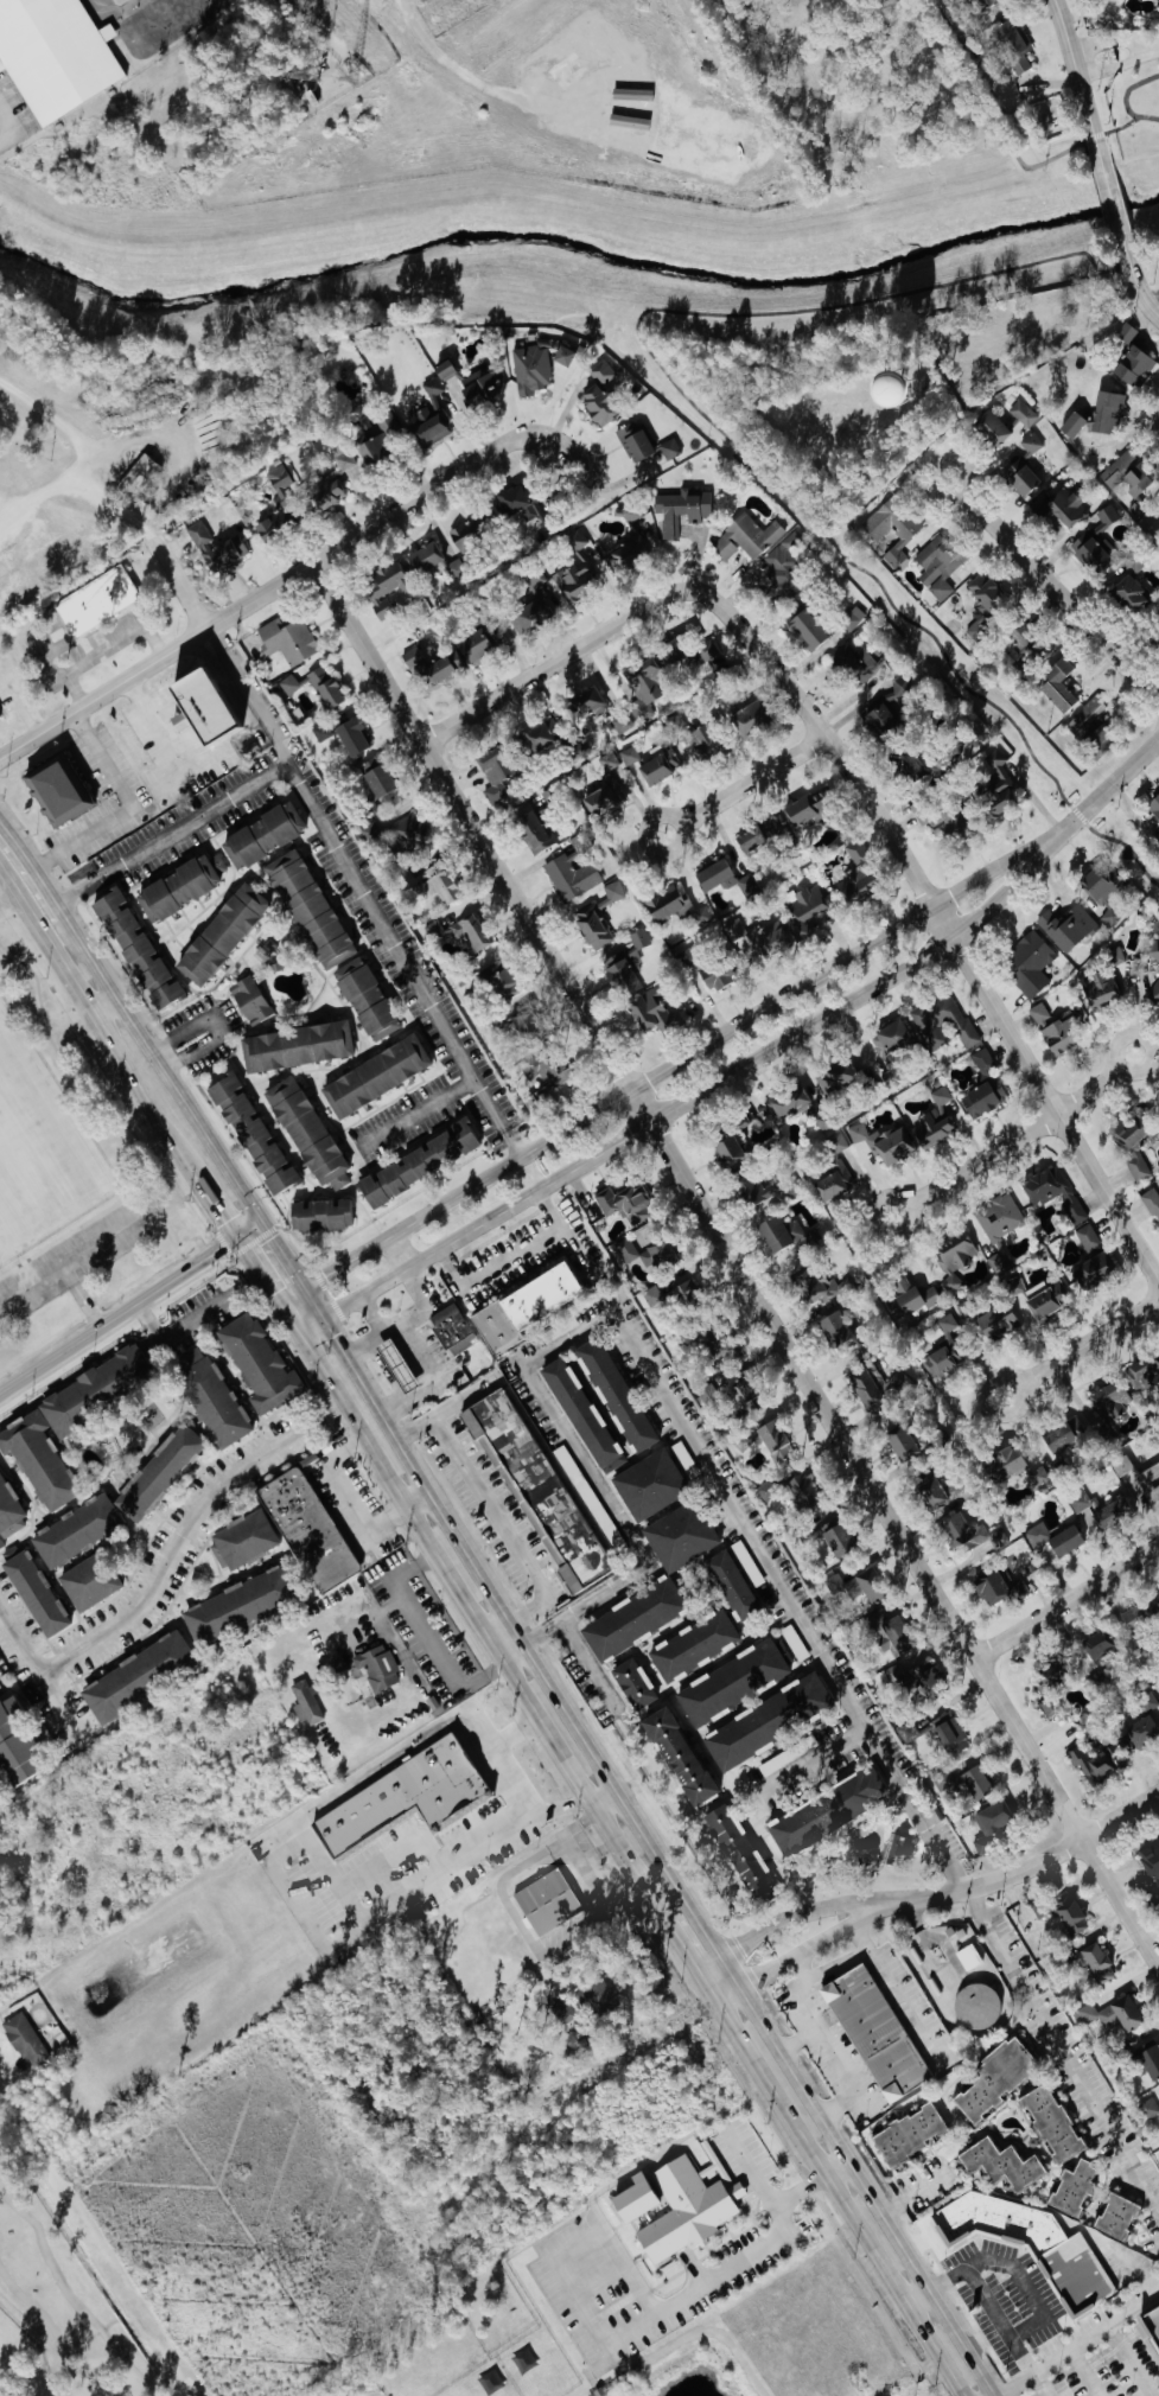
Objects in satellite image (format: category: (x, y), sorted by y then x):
building: (985, 1)
road: (1113, 40)
building: (1013, 44)
building: (55, 53)
road: (1117, 62)
road: (1076, 77)
road: (475, 82)
road: (993, 115)
road: (9, 125)
road: (1128, 146)
road: (1113, 202)
road: (1136, 285)
road: (1153, 299)
building: (1122, 334)
building: (537, 364)
building: (1134, 365)
building: (444, 369)
building: (603, 371)
building: (482, 390)
building: (597, 403)
building: (1107, 412)
building: (1024, 413)
building: (428, 415)
building: (387, 420)
building: (1071, 423)
road: (715, 425)
building: (1017, 426)
building: (992, 427)
building: (1031, 442)
building: (637, 444)
road: (95, 448)
building: (371, 448)
building: (670, 448)
building: (1020, 472)
building: (1127, 472)
building: (140, 473)
building: (279, 477)
building: (331, 483)
building: (521, 506)
building: (1066, 506)
building: (682, 508)
building: (272, 524)
building: (893, 527)
building: (198, 533)
building: (467, 535)
building: (746, 537)
building: (631, 541)
building: (1095, 541)
building: (224, 553)
building: (424, 556)
building: (940, 559)
building: (573, 563)
building: (783, 567)
road: (287, 575)
road: (178, 582)
building: (384, 587)
road: (1053, 588)
building: (985, 592)
building: (1127, 594)
building: (96, 600)
building: (537, 606)
building: (853, 617)
building: (808, 626)
building: (976, 630)
building: (1019, 632)
building: (287, 638)
road: (107, 645)
building: (690, 652)
building: (451, 656)
road: (555, 659)
building: (854, 663)
road: (178, 674)
building: (289, 683)
building: (325, 684)
building: (1057, 684)
building: (643, 687)
road: (20, 694)
road: (250, 699)
building: (193, 705)
building: (582, 705)
building: (885, 709)
building: (0, 715)
building: (749, 716)
building: (1087, 716)
building: (623, 720)
road: (152, 724)
building: (321, 731)
building: (351, 732)
building: (537, 737)
road: (826, 737)
building: (705, 743)
building: (629, 756)
building: (610, 760)
building: (908, 764)
building: (655, 767)
building: (372, 777)
road: (744, 784)
building: (995, 786)
building: (57, 789)
building: (604, 797)
road: (1096, 797)
road: (129, 805)
building: (1153, 808)
building: (808, 809)
building: (947, 823)
building: (531, 827)
road: (203, 828)
building: (370, 831)
building: (413, 834)
building: (757, 834)
building: (263, 835)
road: (17, 843)
road: (338, 846)
building: (856, 873)
building: (572, 878)
building: (725, 878)
building: (429, 880)
building: (1097, 882)
building: (177, 886)
road: (50, 897)
building: (676, 906)
building: (804, 906)
building: (306, 910)
building: (1112, 916)
building: (598, 917)
building: (1068, 926)
building: (470, 931)
building: (219, 933)
building: (641, 937)
building: (758, 939)
building: (133, 948)
building: (1154, 950)
road: (93, 963)
building: (1029, 963)
building: (624, 969)
building: (717, 975)
building: (502, 981)
building: (1104, 981)
building: (1157, 993)
building: (364, 998)
building: (249, 1000)
road: (107, 1006)
building: (655, 1012)
road: (100, 1018)
road: (216, 1019)
building: (943, 1020)
building: (1057, 1027)
building: (890, 1039)
building: (295, 1044)
road: (165, 1058)
road: (654, 1075)
building: (836, 1075)
building: (375, 1076)
building: (983, 1085)
road: (1045, 1094)
building: (789, 1103)
road: (675, 1105)
road: (187, 1109)
road: (419, 1113)
building: (935, 1119)
building: (1158, 1120)
building: (304, 1130)
building: (1128, 1132)
building: (250, 1133)
road: (1017, 1138)
park: (36, 1141)
building: (885, 1142)
building: (836, 1143)
building: (727, 1151)
building: (416, 1164)
building: (1138, 1166)
building: (835, 1181)
building: (752, 1190)
building: (1055, 1192)
building: (1151, 1202)
building: (624, 1203)
road: (219, 1204)
building: (319, 1216)
traffic signals: (260, 1219)
building: (1000, 1226)
building: (778, 1232)
traffic signals: (238, 1234)
building: (1088, 1237)
park: (0, 1241)
building: (629, 1249)
road: (399, 1250)
road: (281, 1253)
building: (657, 1255)
road: (509, 1256)
building: (956, 1256)
road: (734, 1263)
building: (1095, 1270)
building: (819, 1285)
traffic signals: (303, 1287)
building: (686, 1292)
building: (652, 1296)
building: (911, 1298)
building: (1038, 1298)
traffic signals: (282, 1301)
road: (129, 1306)
building: (522, 1306)
traffic signals: (321, 1318)
building: (999, 1321)
building: (949, 1323)
building: (835, 1327)
building: (452, 1330)
traffic signals: (299, 1332)
road: (171, 1333)
road: (1080, 1345)
building: (942, 1359)
building: (256, 1363)
building: (395, 1365)
building: (1144, 1371)
building: (878, 1384)
building: (614, 1395)
building: (708, 1395)
building: (1109, 1400)
building: (212, 1401)
building: (735, 1402)
building: (581, 1415)
building: (1064, 1434)
building: (741, 1440)
building: (775, 1440)
building: (936, 1440)
building: (902, 1444)
building: (1004, 1463)
building: (155, 1472)
building: (649, 1485)
building: (536, 1486)
road: (601, 1490)
building: (768, 1490)
building: (802, 1490)
building: (931, 1493)
building: (1082, 1502)
building: (9, 1512)
building: (1107, 1515)
road: (508, 1525)
building: (75, 1530)
building: (307, 1530)
building: (972, 1534)
building: (1037, 1534)
building: (679, 1536)
building: (242, 1540)
building: (836, 1540)
building: (1065, 1541)
road: (166, 1570)
road: (452, 1580)
building: (87, 1585)
building: (732, 1585)
building: (858, 1586)
building: (993, 1586)
building: (34, 1593)
road: (1065, 1599)
road: (788, 1600)
building: (236, 1605)
building: (1142, 1610)
building: (632, 1618)
building: (1128, 1618)
building: (889, 1632)
road: (425, 1636)
building: (693, 1645)
building: (1097, 1645)
road: (588, 1661)
building: (377, 1667)
building: (135, 1674)
building: (1047, 1676)
building: (915, 1677)
building: (731, 1682)
building: (633, 1683)
road: (61, 1700)
building: (1146, 1700)
building: (306, 1702)
building: (1052, 1706)
building: (764, 1721)
building: (909, 1731)
building: (949, 1733)
building: (14, 1745)
building: (676, 1757)
road: (815, 1758)
building: (1096, 1763)
building: (973, 1782)
building: (400, 1797)
road: (566, 1806)
building: (827, 1811)
building: (991, 1821)
road: (649, 1842)
building: (897, 1847)
building: (735, 1848)
building: (1152, 1855)
road: (1029, 1866)
building: (546, 1901)
road: (348, 1912)
building: (1064, 1913)
road: (784, 1917)
road: (858, 1936)
road: (684, 1946)
road: (801, 1951)
building: (969, 1956)
building: (1096, 1960)
road: (802, 1970)
road: (833, 1970)
building: (598, 1995)
building: (567, 2011)
building: (1112, 2015)
building: (874, 2031)
road: (797, 2035)
building: (25, 2039)
road: (1062, 2048)
road: (762, 2071)
building: (994, 2077)
road: (838, 2102)
building: (1158, 2105)
building: (1150, 2107)
building: (1050, 2121)
building: (908, 2131)
building: (1000, 2162)
road: (747, 2165)
road: (839, 2168)
building: (1071, 2186)
building: (632, 2198)
building: (688, 2206)
building: (1115, 2215)
building: (1030, 2243)
road: (596, 2282)
road: (896, 2283)
park: (65, 2295)
road: (75, 2295)
road: (919, 2296)
road: (1036, 2301)
road: (673, 2303)
building: (1152, 2324)
road: (37, 2341)
road: (1025, 2354)
road: (740, 2356)
road: (1134, 2356)
road: (645, 2357)
road: (1059, 2359)
park: (692, 2366)
park: (1, 2373)
road: (1089, 2373)
road: (1045, 2384)

